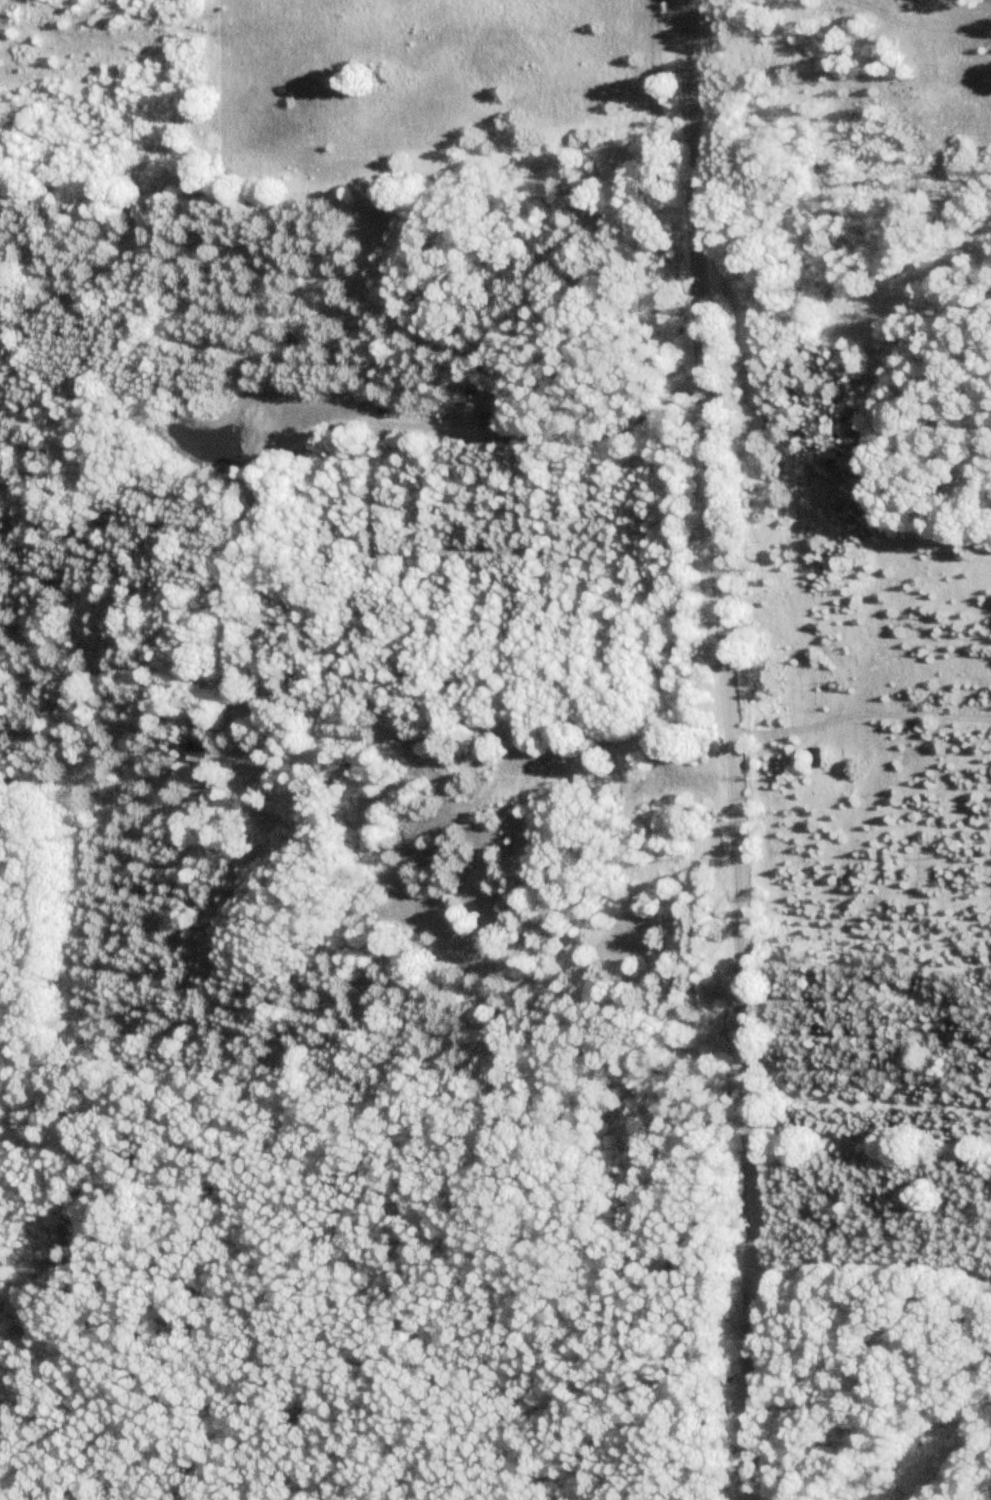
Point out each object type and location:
road: (731, 749)
building: (203, 751)
building: (818, 756)

